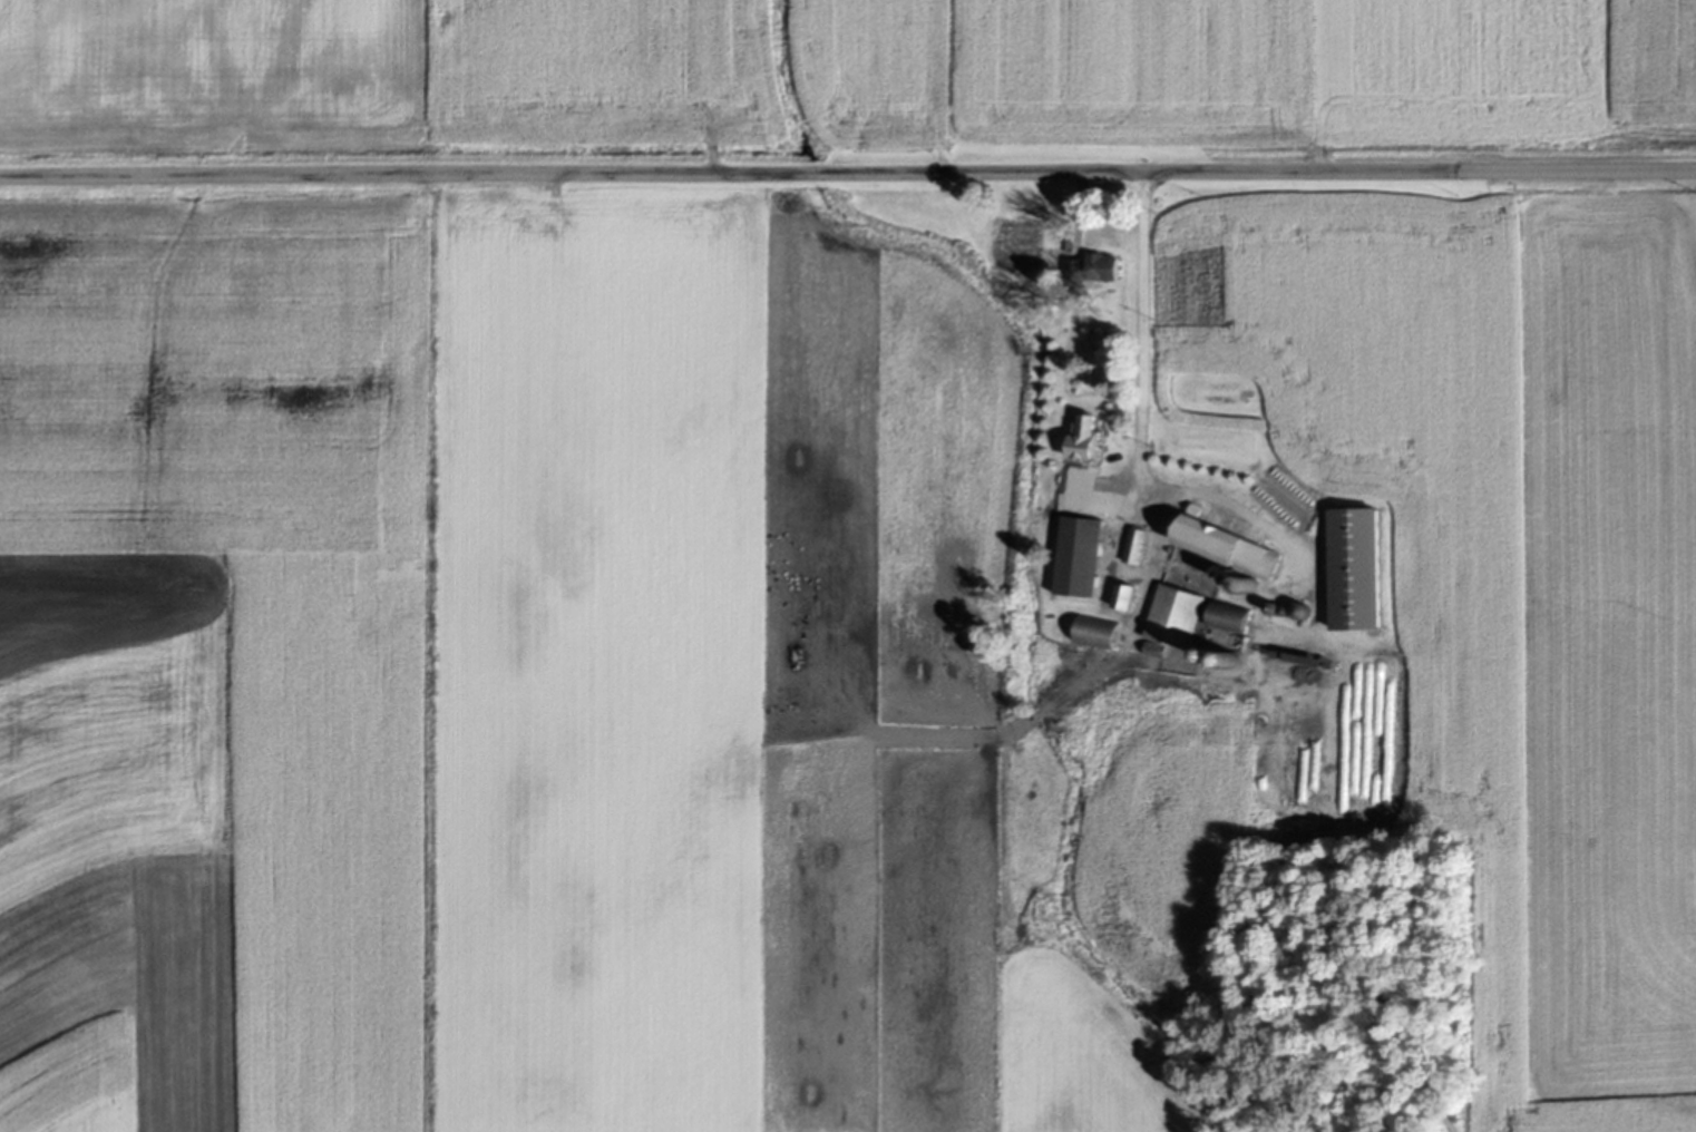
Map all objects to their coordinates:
road: (848, 173)
building: (1090, 271)
road: (1142, 341)
building: (1083, 438)
building: (1073, 486)
building: (1134, 548)
building: (1226, 549)
building: (1079, 558)
building: (1353, 570)
building: (1122, 598)
building: (1298, 614)
building: (1173, 619)
building: (1227, 619)
building: (1094, 633)

